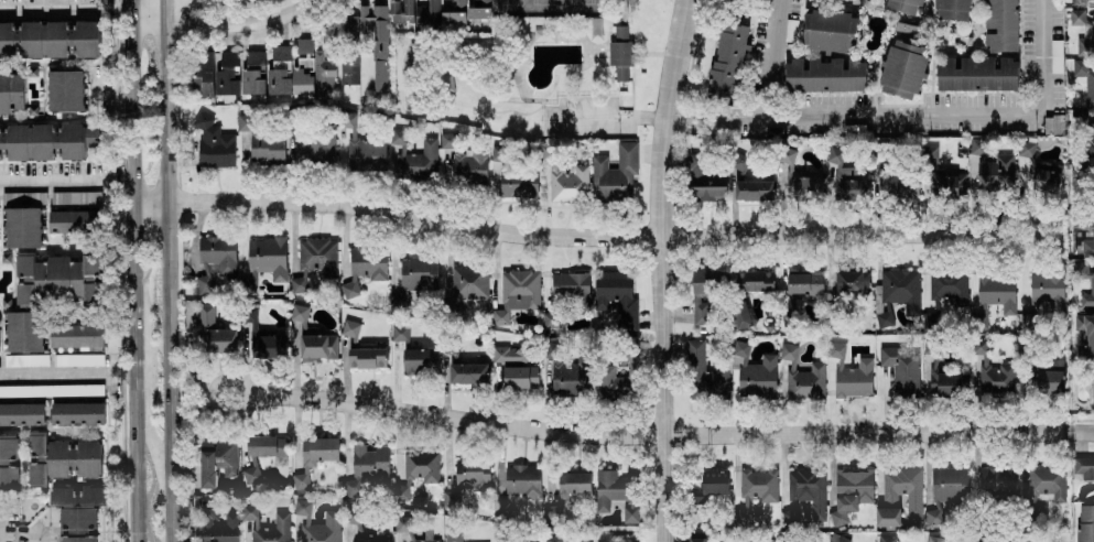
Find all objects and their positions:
building: (870, 0)
road: (64, 1)
road: (189, 3)
park: (511, 3)
park: (544, 3)
park: (581, 3)
building: (902, 6)
building: (951, 9)
building: (454, 12)
building: (477, 12)
building: (401, 13)
building: (426, 13)
building: (1000, 25)
road: (228, 29)
building: (350, 29)
building: (828, 31)
building: (1083, 31)
building: (48, 40)
building: (377, 43)
building: (619, 53)
road: (775, 57)
building: (349, 66)
building: (726, 66)
building: (902, 69)
building: (278, 71)
building: (312, 71)
building: (203, 74)
building: (252, 74)
building: (976, 74)
building: (226, 75)
building: (825, 75)
building: (1084, 79)
road: (113, 87)
building: (65, 90)
building: (11, 91)
road: (910, 113)
road: (610, 117)
building: (1053, 124)
building: (1090, 139)
building: (214, 143)
building: (315, 148)
building: (364, 148)
building: (929, 153)
building: (787, 155)
building: (1025, 155)
building: (414, 158)
building: (990, 165)
building: (469, 167)
building: (614, 174)
building: (565, 177)
road: (72, 178)
building: (846, 178)
building: (704, 181)
building: (1044, 181)
building: (518, 184)
building: (803, 185)
building: (950, 185)
building: (897, 186)
building: (754, 189)
building: (13, 198)
building: (74, 221)
building: (23, 227)
road: (572, 236)
building: (1087, 246)
building: (215, 260)
building: (315, 260)
building: (264, 261)
building: (365, 268)
road: (132, 270)
road: (663, 270)
road: (164, 271)
building: (418, 272)
building: (59, 279)
building: (754, 281)
building: (848, 281)
building: (804, 284)
building: (947, 285)
building: (1091, 285)
building: (466, 286)
building: (572, 288)
building: (901, 289)
building: (1048, 290)
building: (997, 292)
building: (703, 293)
building: (516, 294)
building: (616, 297)
building: (739, 314)
building: (928, 314)
building: (1025, 318)
building: (979, 321)
building: (350, 328)
building: (23, 332)
building: (214, 333)
building: (399, 333)
building: (75, 335)
building: (1084, 336)
building: (268, 346)
building: (317, 347)
building: (979, 347)
building: (788, 351)
building: (366, 358)
building: (78, 359)
building: (25, 360)
building: (420, 361)
building: (517, 367)
building: (901, 370)
road: (66, 371)
building: (468, 373)
building: (704, 373)
building: (751, 373)
building: (849, 373)
building: (994, 377)
building: (567, 379)
building: (617, 380)
building: (804, 380)
building: (928, 381)
building: (1049, 381)
building: (1092, 383)
building: (947, 384)
building: (51, 390)
road: (207, 397)
building: (77, 413)
building: (22, 414)
road: (669, 436)
building: (268, 448)
building: (314, 457)
building: (61, 459)
building: (216, 460)
building: (8, 463)
building: (370, 463)
building: (421, 466)
building: (1084, 467)
building: (251, 475)
building: (192, 476)
building: (472, 476)
building: (522, 481)
building: (997, 481)
building: (949, 484)
building: (572, 485)
building: (1046, 485)
building: (710, 486)
building: (756, 488)
building: (902, 488)
building: (808, 490)
building: (400, 492)
building: (851, 492)
building: (615, 494)
building: (91, 496)
building: (302, 507)
building: (933, 516)
building: (887, 517)
building: (74, 518)
building: (1084, 523)
building: (217, 524)
building: (281, 524)
building: (360, 525)
building: (322, 529)
building: (453, 536)
building: (552, 539)
building: (837, 539)
building: (885, 539)
building: (933, 539)
building: (696, 540)
building: (788, 540)
building: (422, 541)

